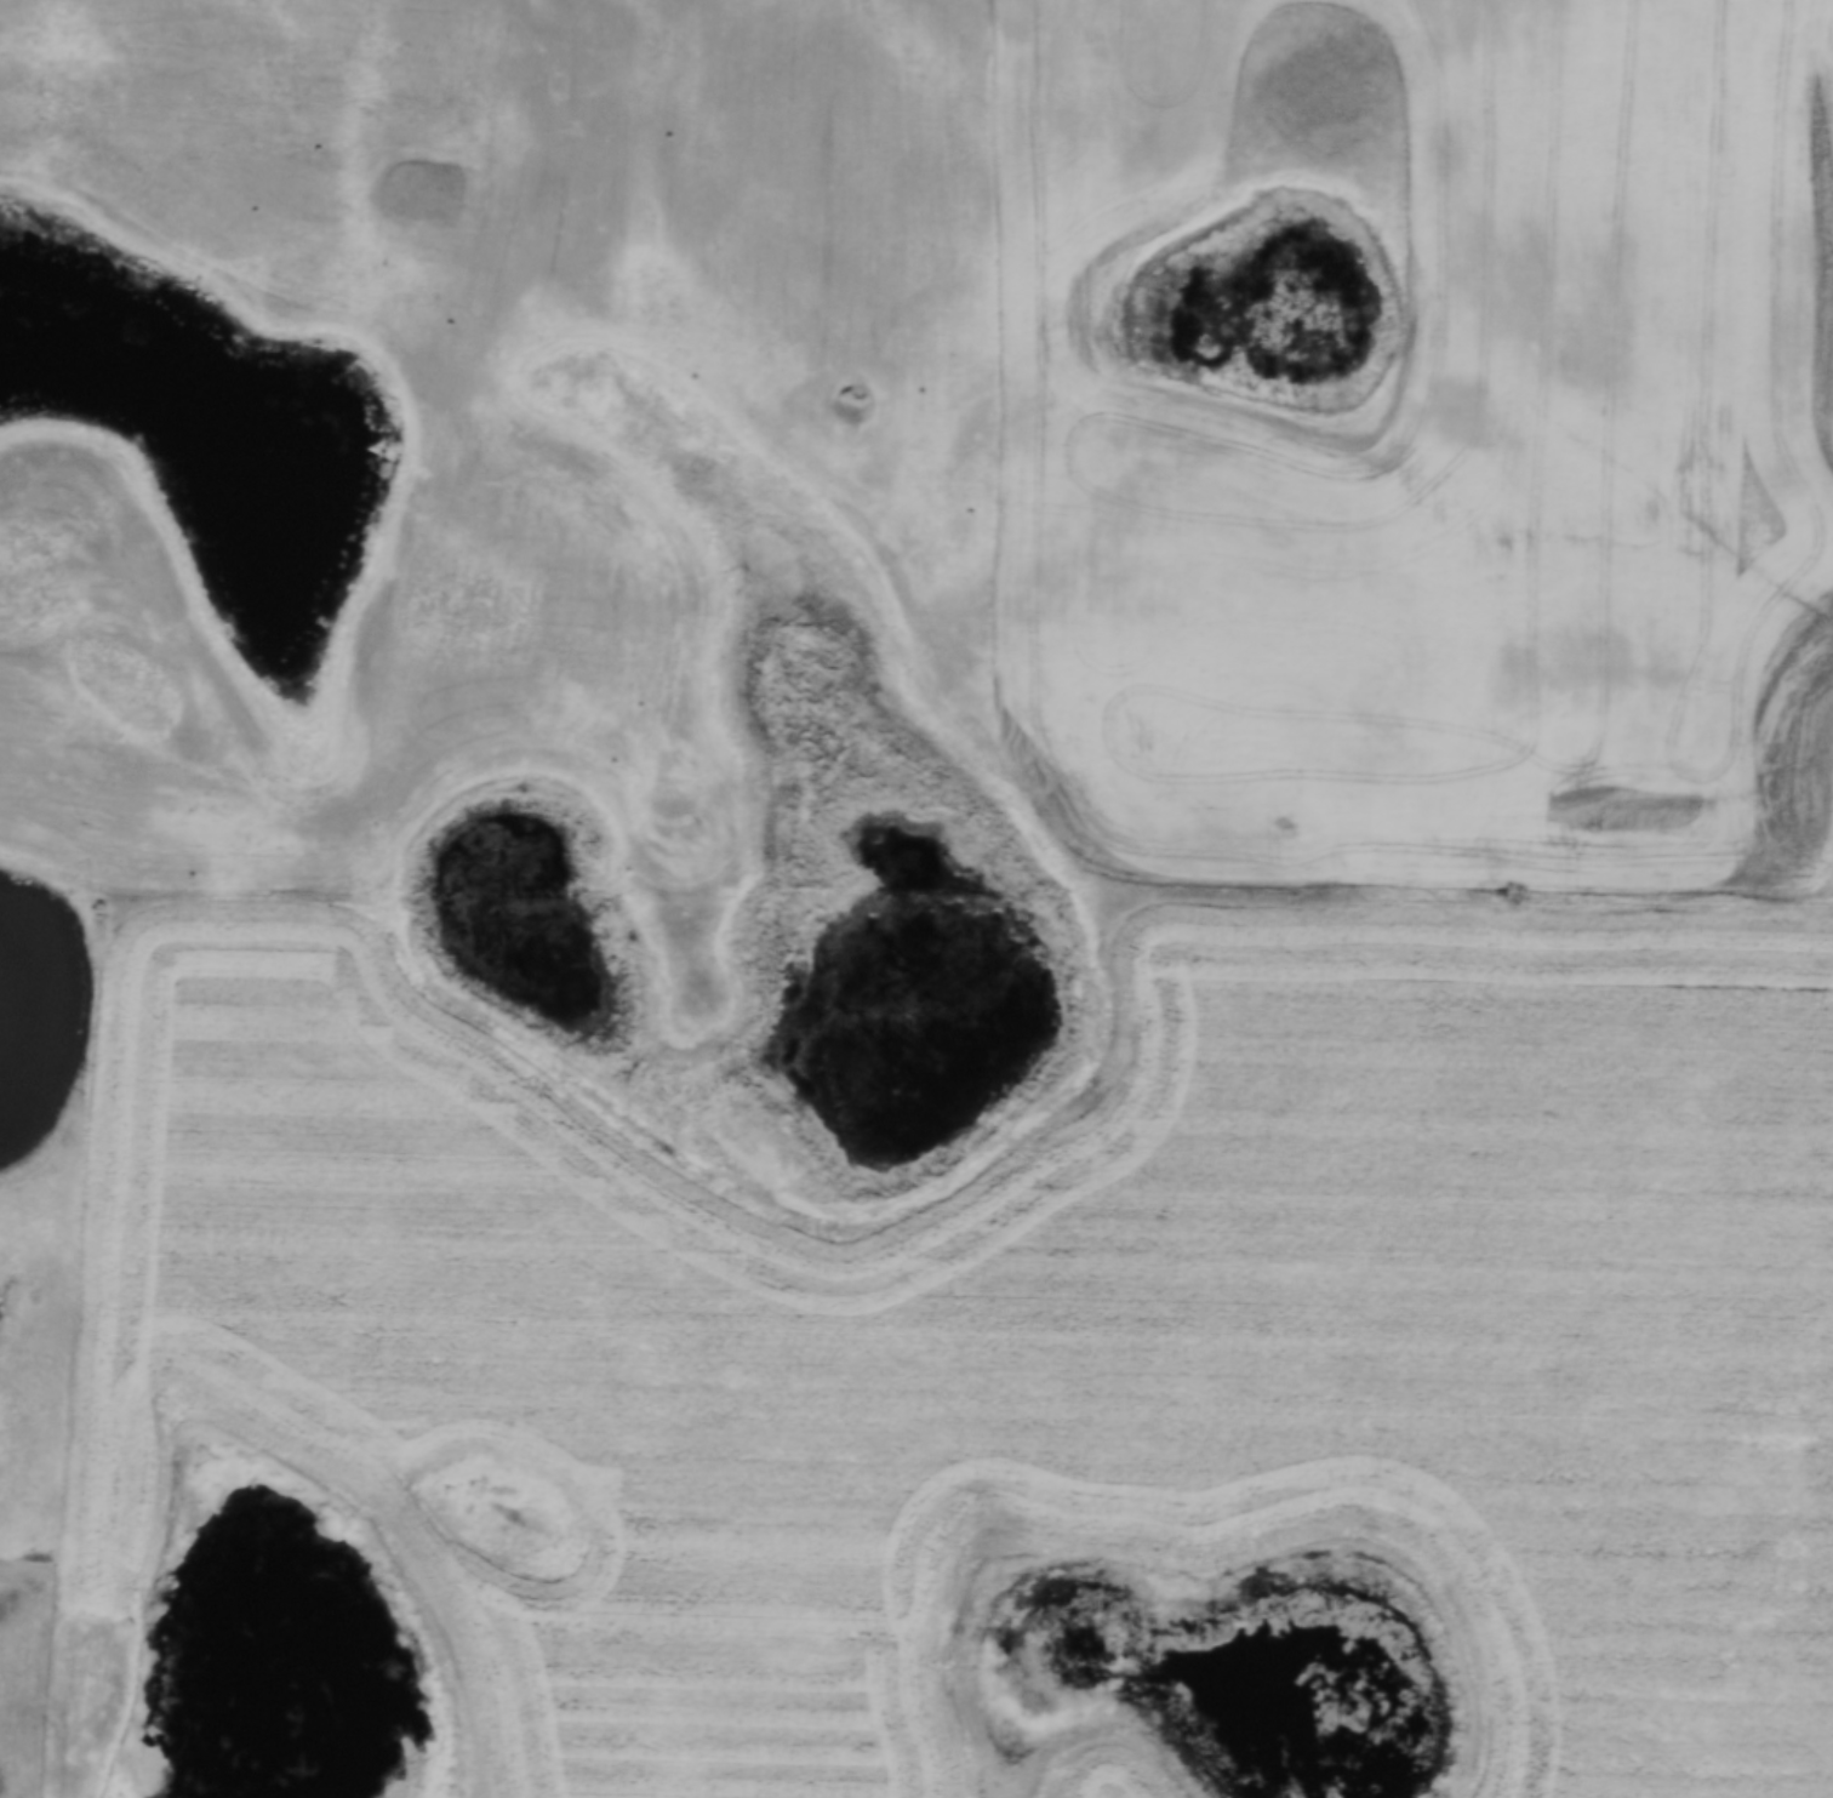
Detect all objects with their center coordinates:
road: (17, 1714)

